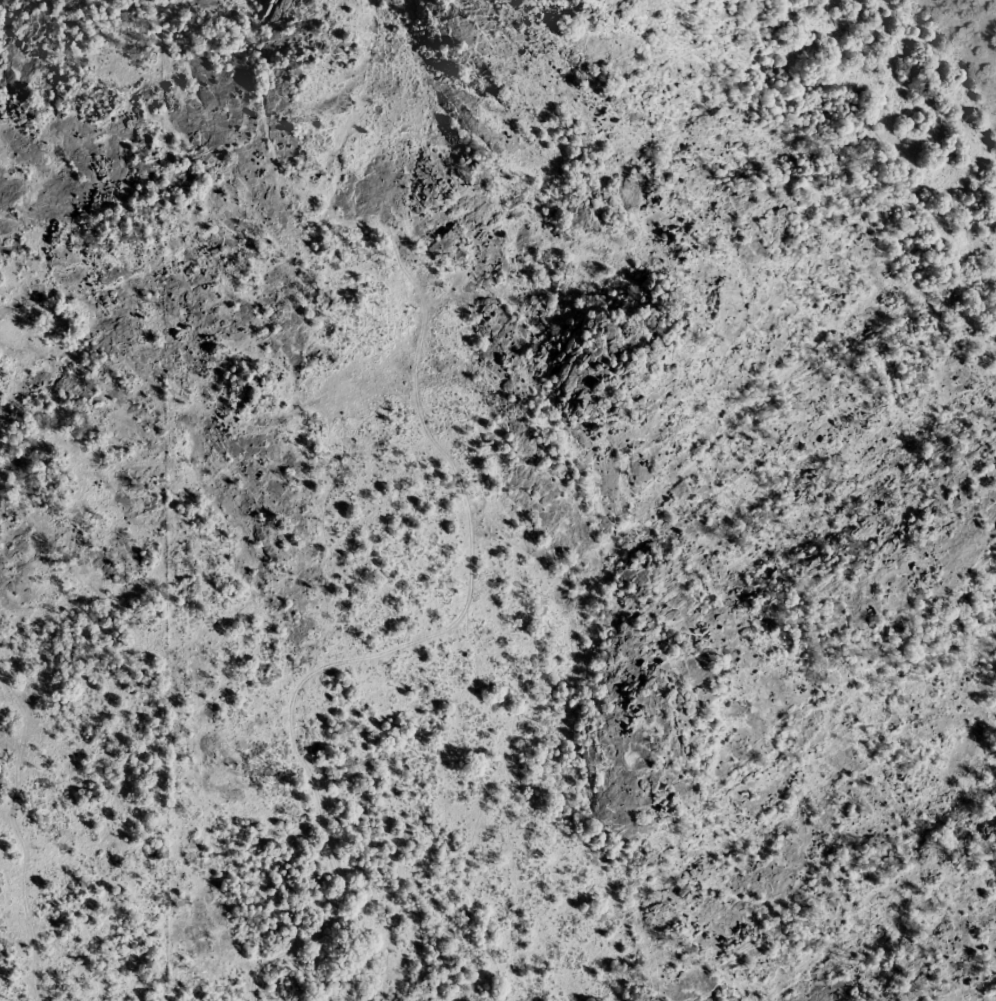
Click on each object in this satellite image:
road: (355, 660)
road: (21, 867)

